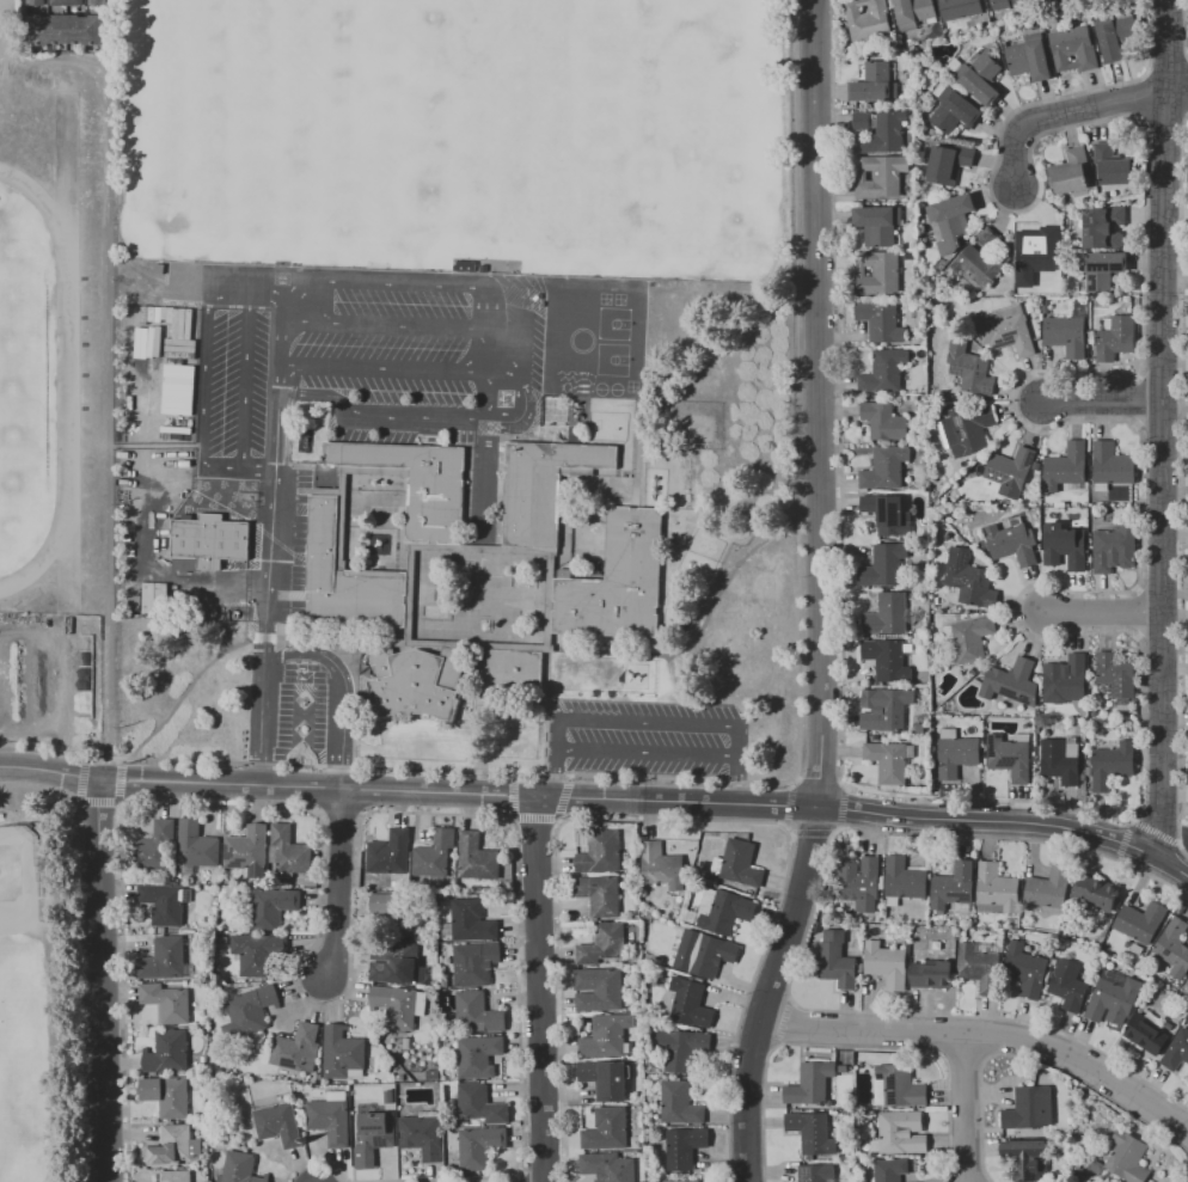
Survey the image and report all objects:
building: (33, 1)
building: (65, 1)
building: (97, 1)
building: (1005, 4)
building: (960, 8)
park: (665, 11)
building: (913, 12)
building: (869, 19)
road: (1183, 27)
building: (66, 29)
building: (1115, 36)
building: (1074, 48)
building: (1029, 59)
building: (981, 75)
building: (875, 84)
building: (939, 88)
road: (1176, 92)
road: (1187, 102)
park: (213, 110)
building: (954, 110)
park: (388, 111)
road: (1064, 114)
building: (861, 120)
building: (886, 131)
building: (932, 131)
park: (455, 133)
building: (941, 134)
building: (949, 163)
park: (633, 164)
building: (1113, 165)
building: (1072, 171)
building: (881, 176)
building: (950, 221)
building: (878, 225)
building: (1103, 227)
building: (1036, 252)
building: (978, 263)
building: (1100, 270)
building: (878, 272)
park: (312, 283)
park: (237, 286)
building: (1030, 306)
building: (1046, 307)
building: (881, 318)
building: (937, 319)
park: (616, 324)
road: (405, 327)
building: (1006, 329)
building: (1066, 335)
building: (1091, 337)
building: (1116, 338)
building: (147, 342)
parking lot: (418, 343)
road: (526, 357)
track: (60, 359)
park: (613, 360)
building: (884, 370)
road: (404, 372)
building: (972, 372)
park: (25, 380)
building: (177, 388)
park: (233, 391)
road: (1104, 404)
road: (110, 418)
building: (883, 419)
road: (1159, 425)
building: (967, 429)
road: (277, 448)
building: (1113, 464)
building: (1066, 466)
building: (886, 467)
building: (1011, 471)
building: (418, 483)
road: (1182, 485)
building: (1102, 486)
building: (543, 488)
building: (887, 513)
building: (143, 534)
building: (210, 539)
building: (1012, 540)
building: (323, 543)
building: (1065, 546)
building: (1116, 547)
building: (884, 564)
building: (969, 578)
building: (618, 580)
road: (821, 595)
building: (153, 598)
building: (937, 600)
building: (968, 611)
road: (1112, 612)
building: (887, 613)
building: (973, 638)
building: (889, 659)
building: (973, 672)
building: (923, 673)
building: (1115, 674)
building: (1067, 676)
building: (416, 680)
building: (1011, 682)
road: (184, 694)
road: (337, 696)
road: (262, 705)
building: (1123, 705)
building: (888, 711)
building: (1066, 712)
road: (649, 721)
parking lot: (301, 722)
building: (920, 728)
building: (1037, 730)
building: (949, 731)
parking lot: (647, 739)
building: (956, 755)
building: (1010, 755)
road: (647, 757)
building: (1060, 759)
building: (890, 760)
building: (1113, 764)
road: (553, 774)
road: (740, 783)
road: (410, 794)
road: (69, 796)
road: (675, 816)
road: (1009, 823)
road: (1155, 831)
road: (812, 834)
road: (42, 838)
road: (1122, 839)
building: (195, 844)
building: (157, 846)
building: (247, 847)
building: (288, 851)
building: (601, 851)
building: (390, 852)
building: (435, 853)
building: (477, 857)
road: (1169, 859)
building: (739, 863)
building: (662, 865)
building: (904, 878)
building: (858, 880)
park: (19, 881)
road: (335, 884)
building: (954, 886)
building: (1049, 888)
building: (996, 889)
building: (1096, 893)
building: (598, 894)
building: (892, 901)
building: (164, 904)
building: (275, 907)
building: (398, 911)
building: (724, 911)
building: (472, 920)
building: (1140, 925)
building: (961, 933)
road: (801, 942)
building: (604, 943)
building: (1174, 947)
building: (258, 953)
building: (710, 955)
building: (164, 959)
building: (837, 960)
building: (474, 962)
building: (887, 963)
building: (399, 966)
building: (981, 966)
building: (1027, 970)
building: (932, 974)
park: (51, 980)
road: (103, 980)
building: (1187, 982)
building: (1068, 984)
road: (540, 990)
building: (598, 990)
building: (1114, 997)
building: (167, 1002)
building: (690, 1003)
building: (392, 1008)
building: (249, 1010)
building: (479, 1013)
road: (783, 1022)
building: (1169, 1025)
building: (1146, 1033)
road: (944, 1035)
road: (992, 1035)
road: (984, 1036)
building: (608, 1037)
road: (855, 1046)
building: (680, 1047)
building: (298, 1048)
building: (1176, 1051)
building: (167, 1052)
building: (342, 1052)
building: (479, 1055)
road: (967, 1055)
road: (1051, 1065)
building: (605, 1078)
building: (812, 1084)
building: (899, 1086)
building: (167, 1095)
building: (639, 1098)
building: (680, 1102)
building: (480, 1104)
road: (965, 1108)
building: (1027, 1108)
building: (331, 1120)
building: (278, 1123)
building: (607, 1128)
building: (812, 1132)
building: (900, 1133)
building: (374, 1137)
building: (422, 1137)
building: (173, 1145)
building: (479, 1146)
building: (684, 1146)
building: (1028, 1158)
building: (1127, 1158)
building: (608, 1168)
building: (240, 1169)
building: (889, 1170)
building: (816, 1172)
building: (176, 1175)
building: (682, 1181)

